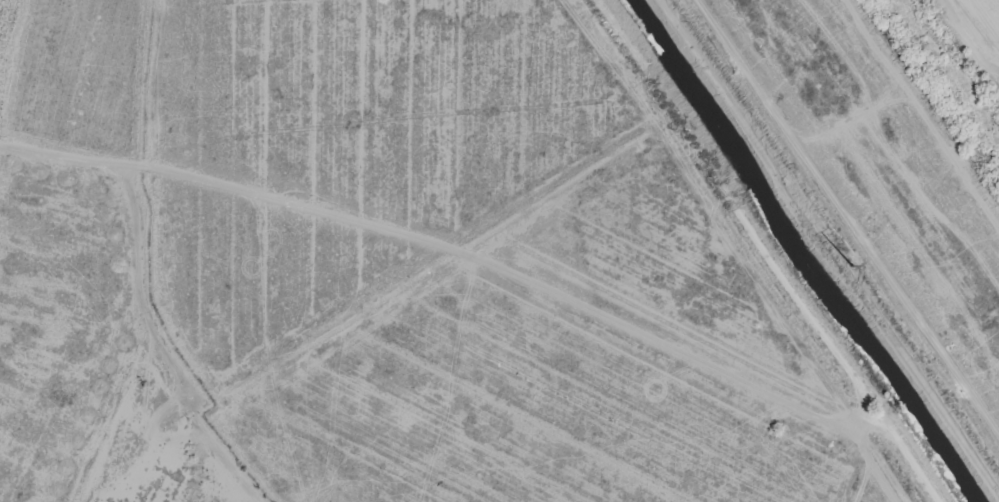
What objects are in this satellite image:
river: (949, 72)
road: (786, 134)
road: (65, 160)
road: (764, 249)
power tower: (852, 263)
road: (148, 296)
road: (938, 354)
road: (227, 454)

